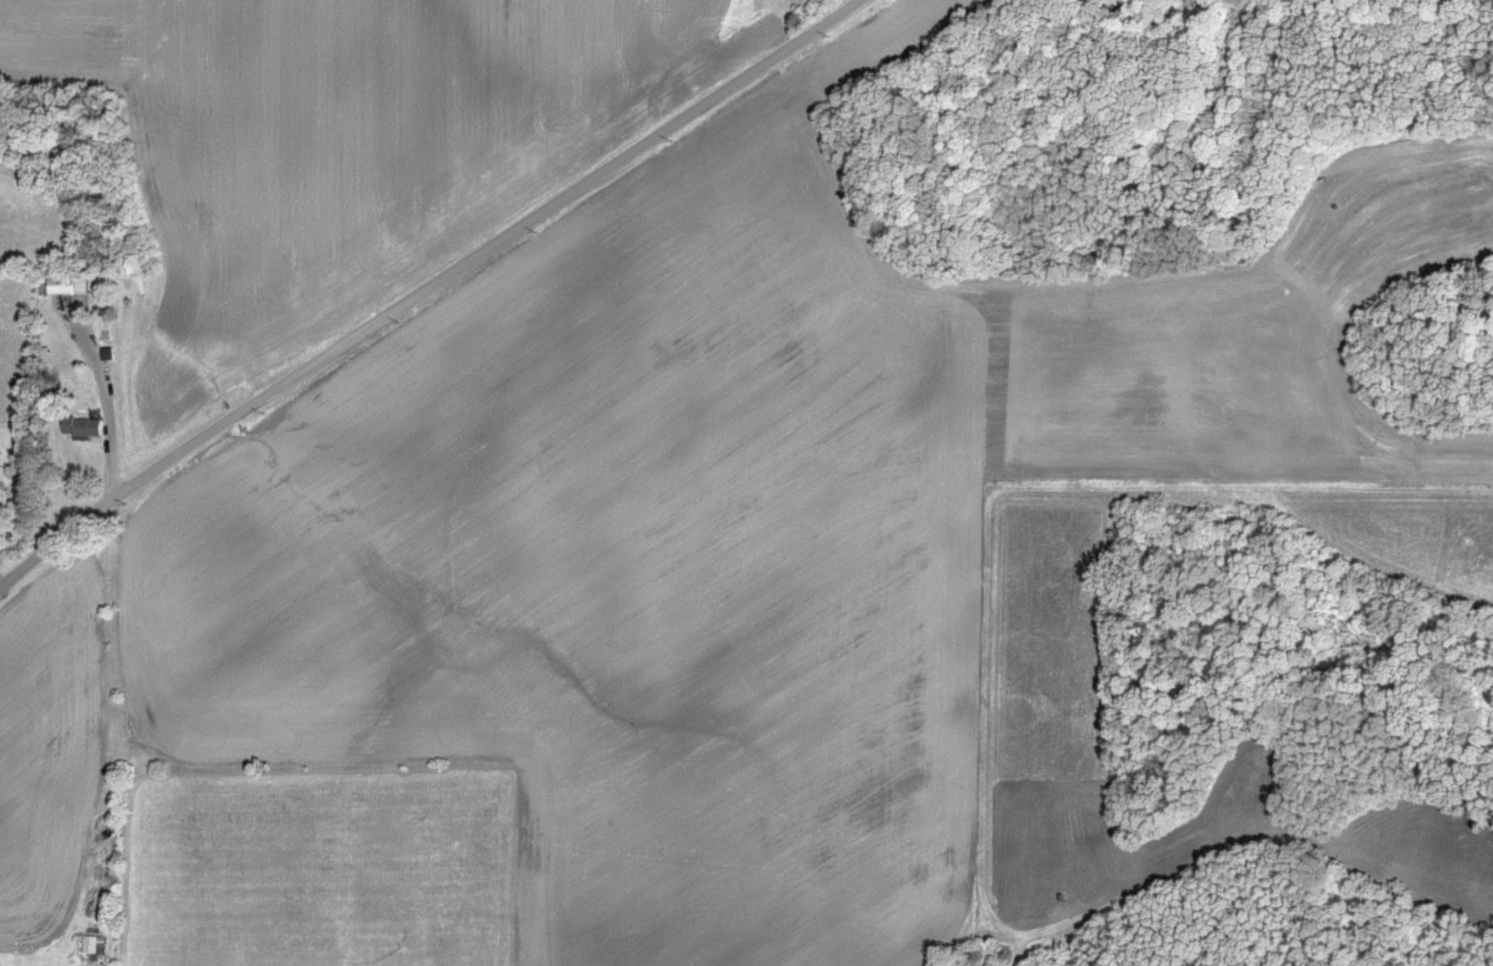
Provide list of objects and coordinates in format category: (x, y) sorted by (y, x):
building: (72, 286)
road: (425, 288)
building: (84, 429)
building: (95, 945)

